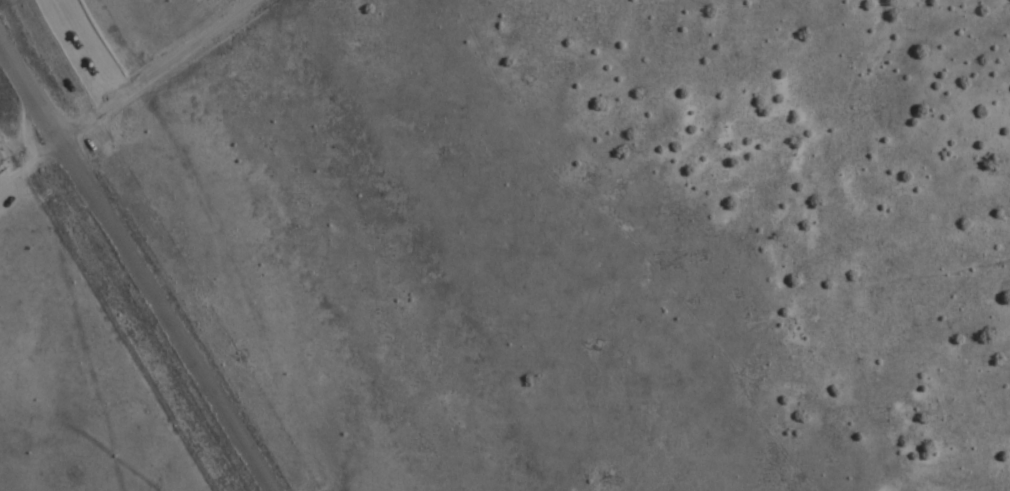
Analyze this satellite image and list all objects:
road: (29, 90)
road: (161, 319)

